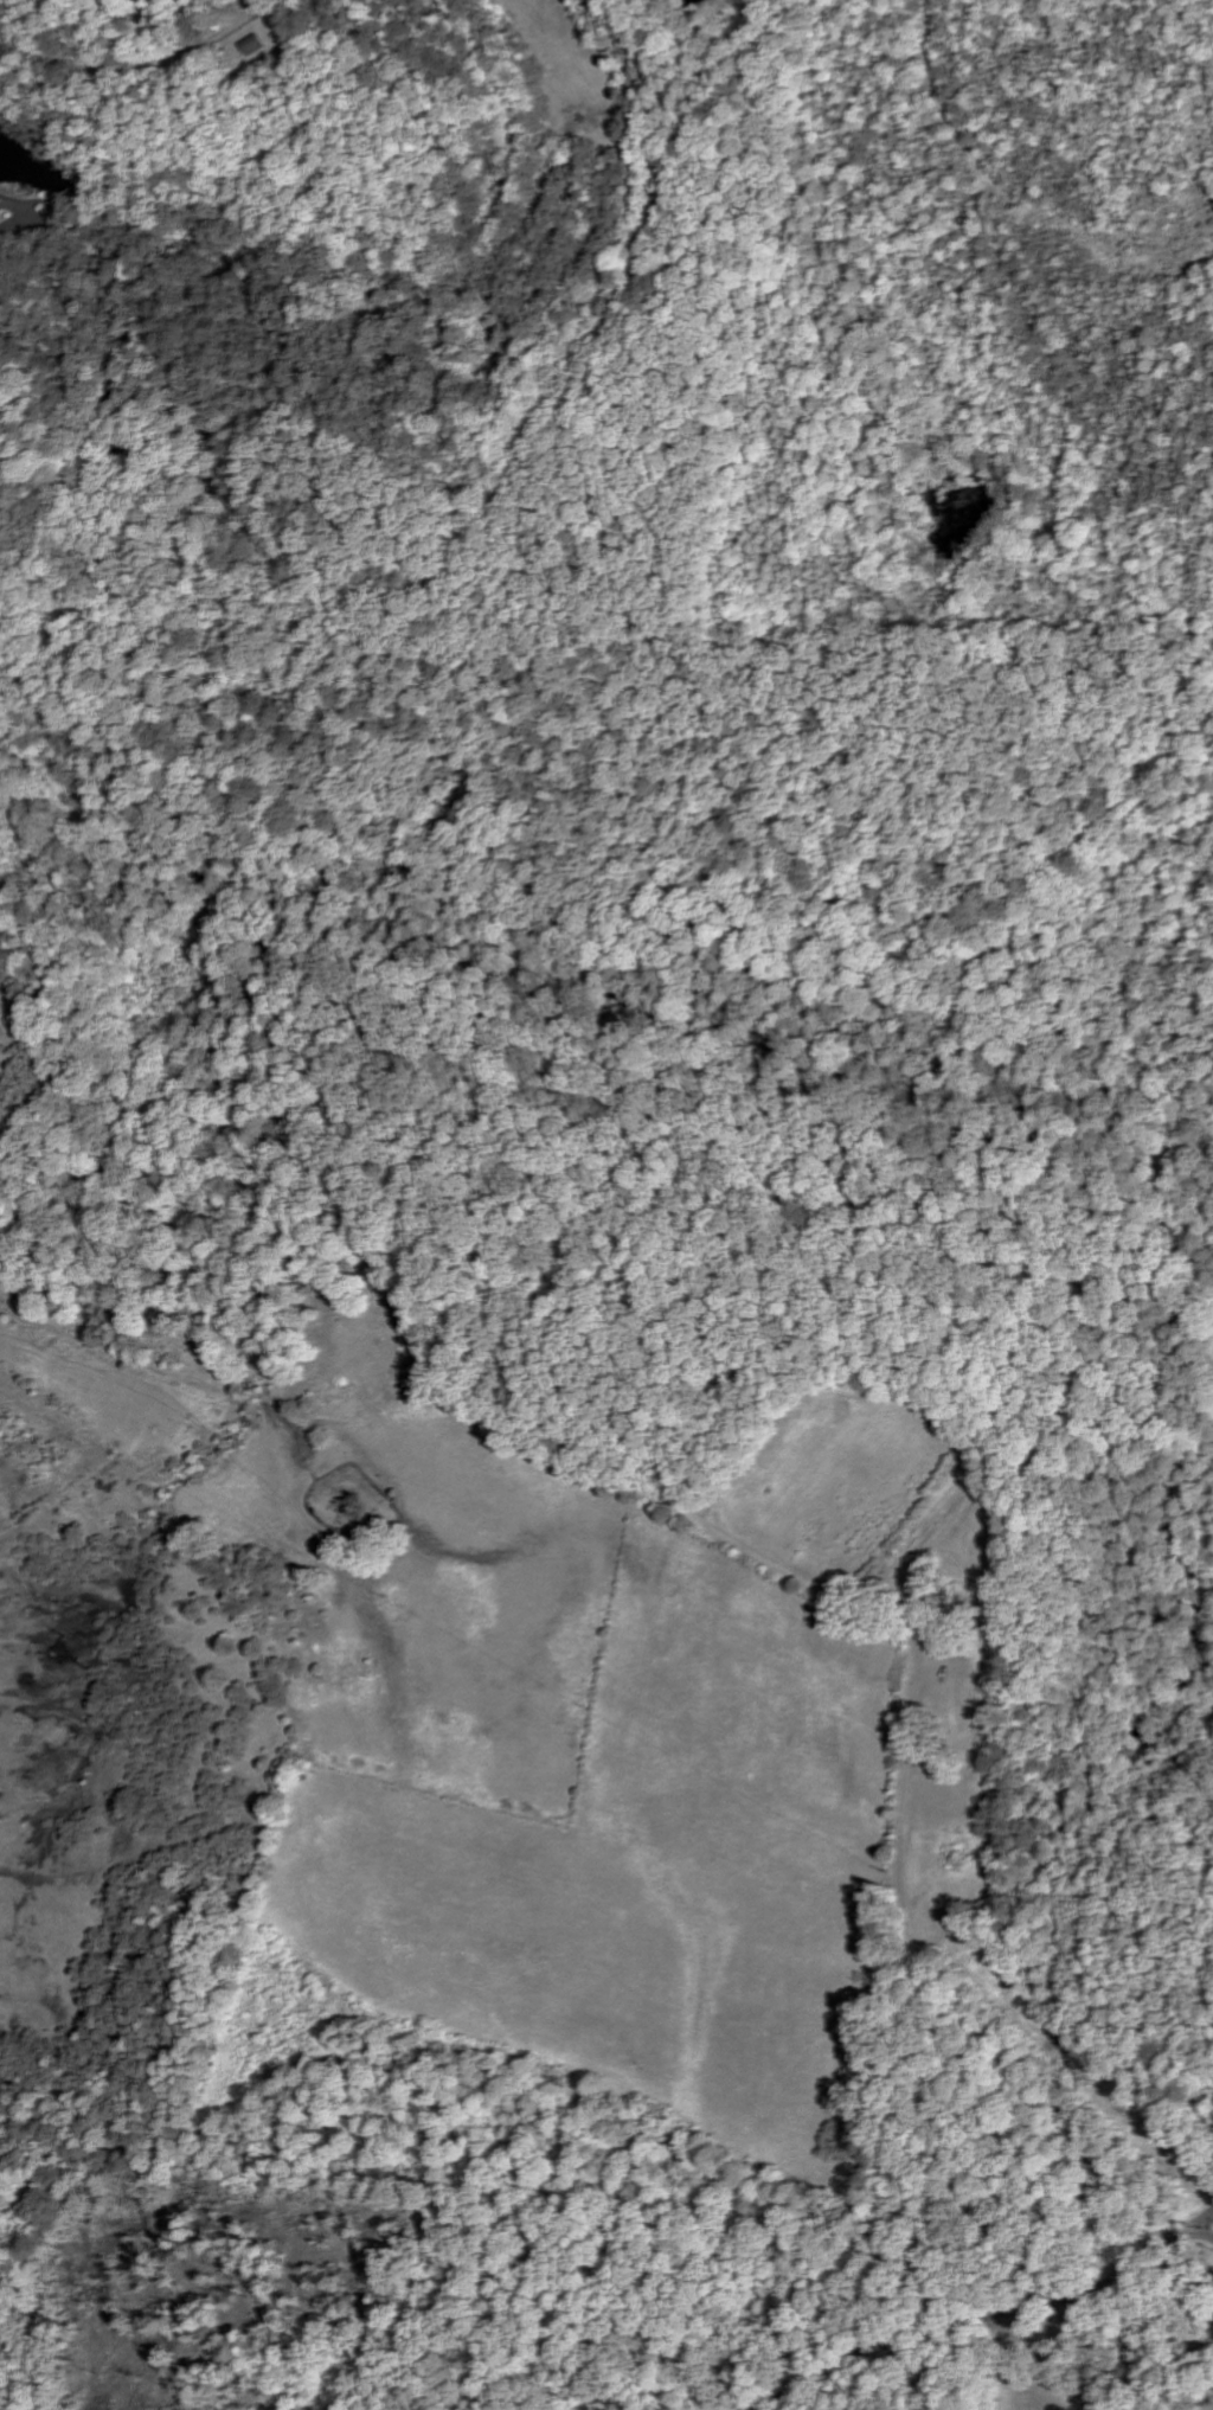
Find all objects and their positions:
road: (140, 63)
road: (1198, 2222)
road: (989, 2318)

